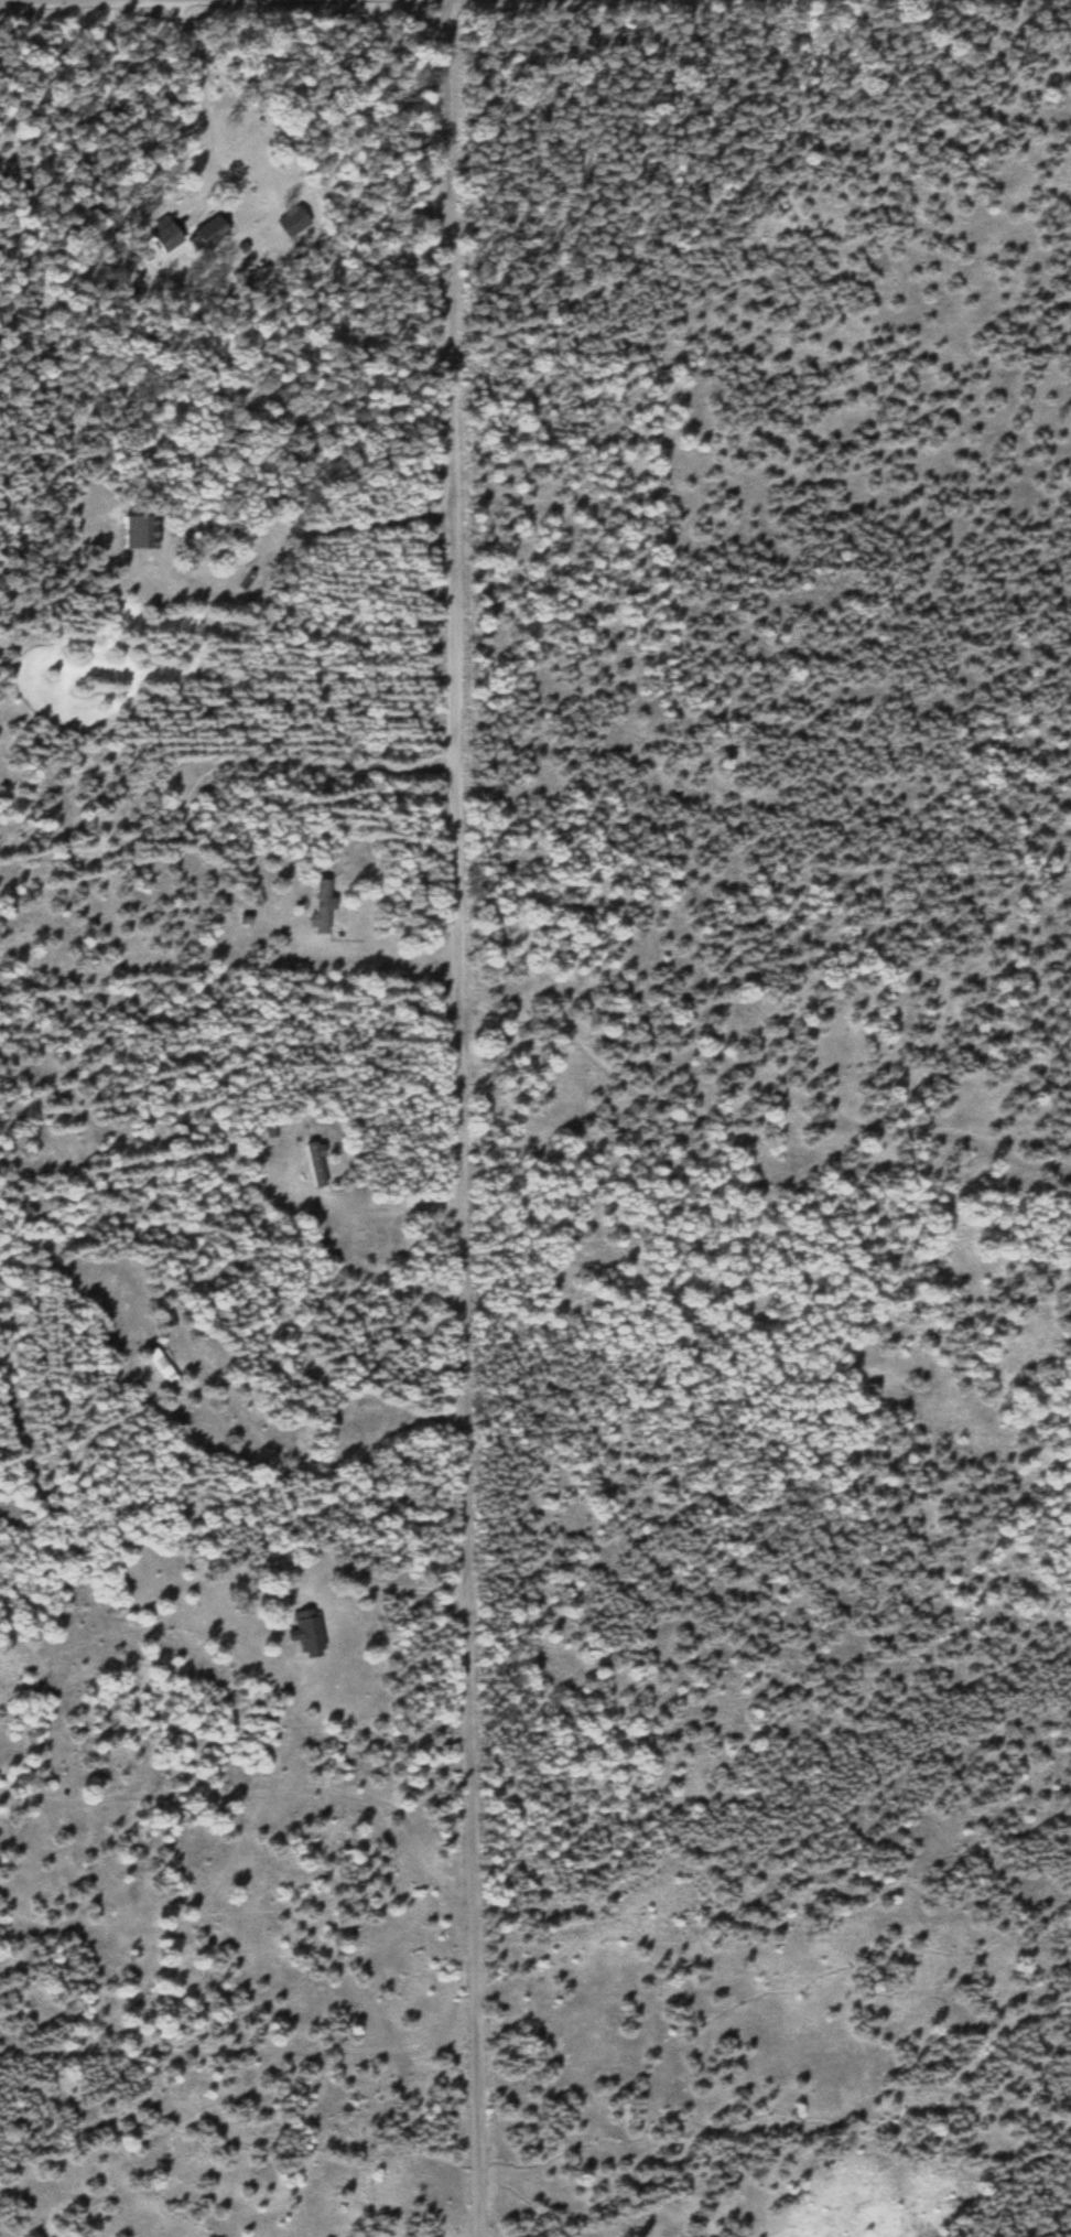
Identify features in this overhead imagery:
road: (118, 1)
building: (149, 174)
building: (294, 224)
building: (210, 235)
building: (166, 236)
building: (138, 534)
building: (322, 908)
road: (759, 1105)
road: (465, 1118)
building: (317, 1165)
building: (165, 1370)
building: (309, 1636)

